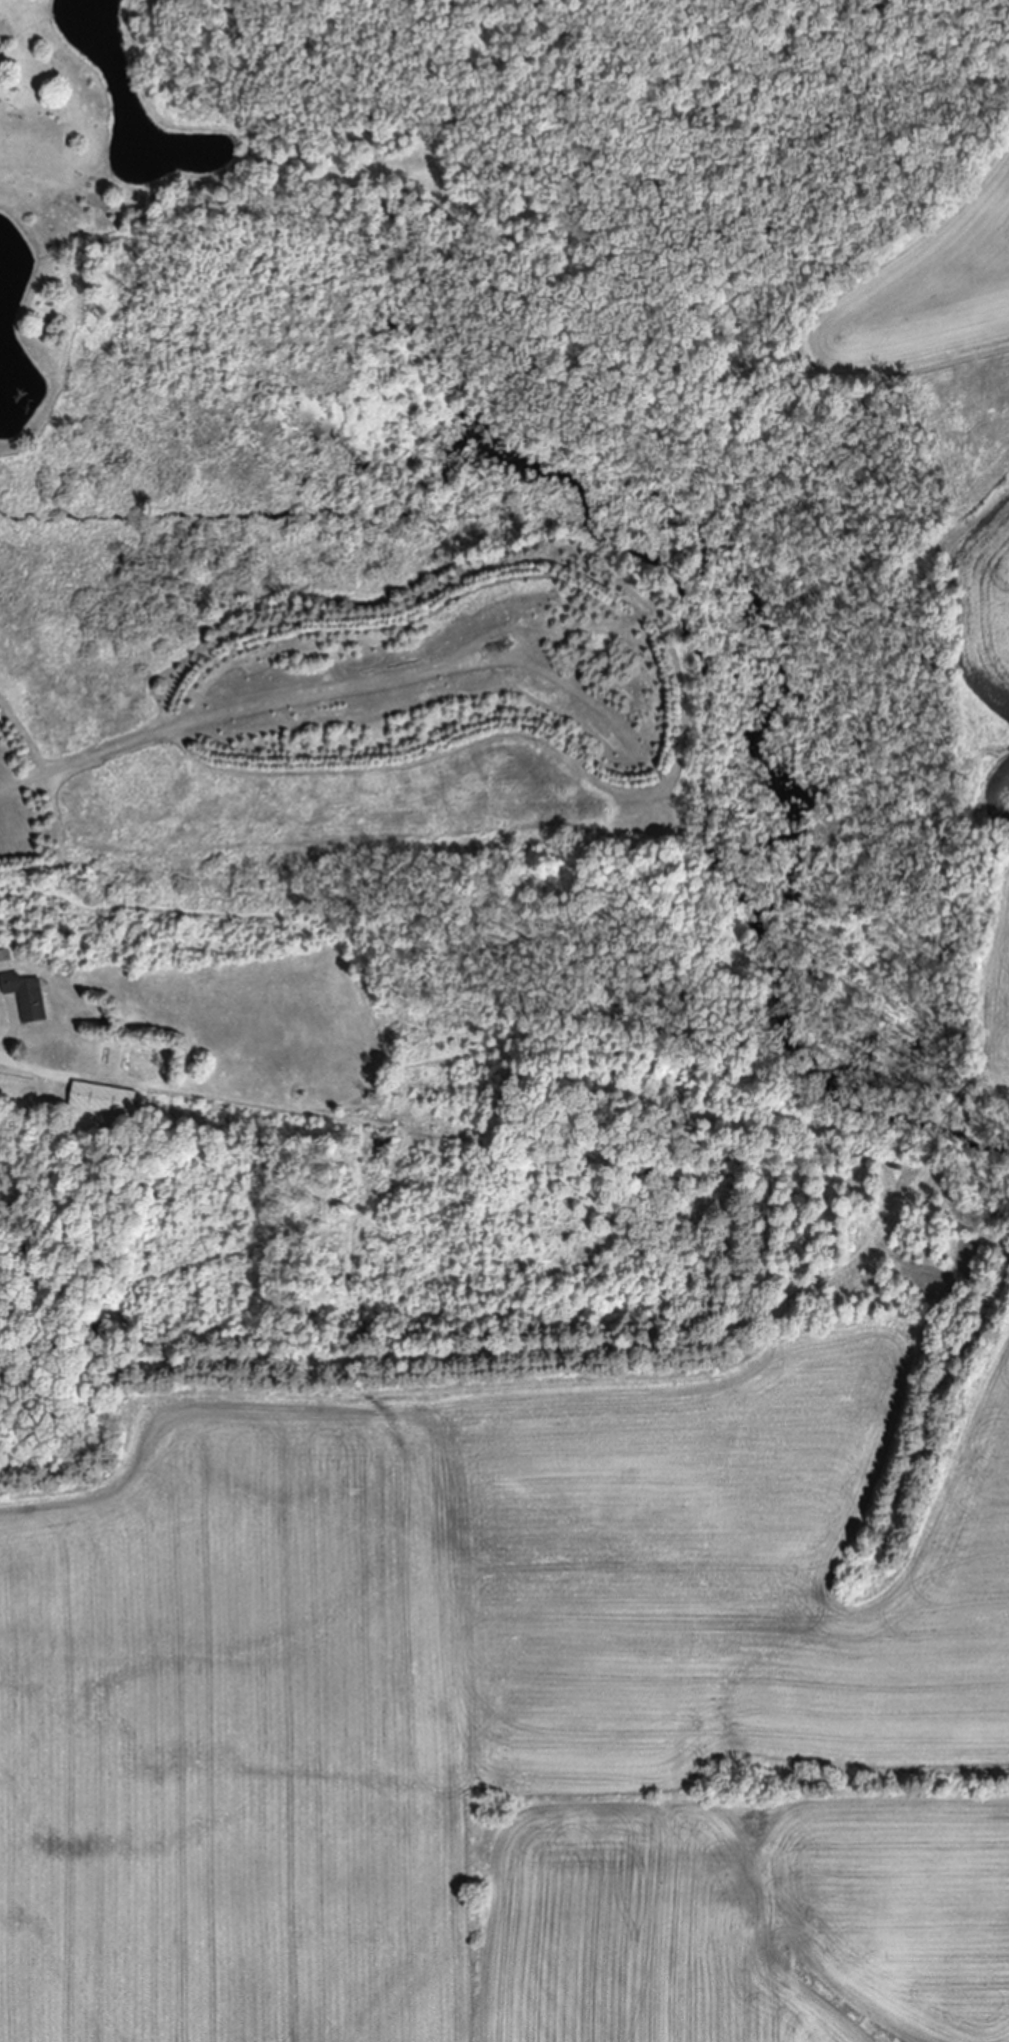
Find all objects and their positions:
building: (26, 997)
building: (103, 1100)

